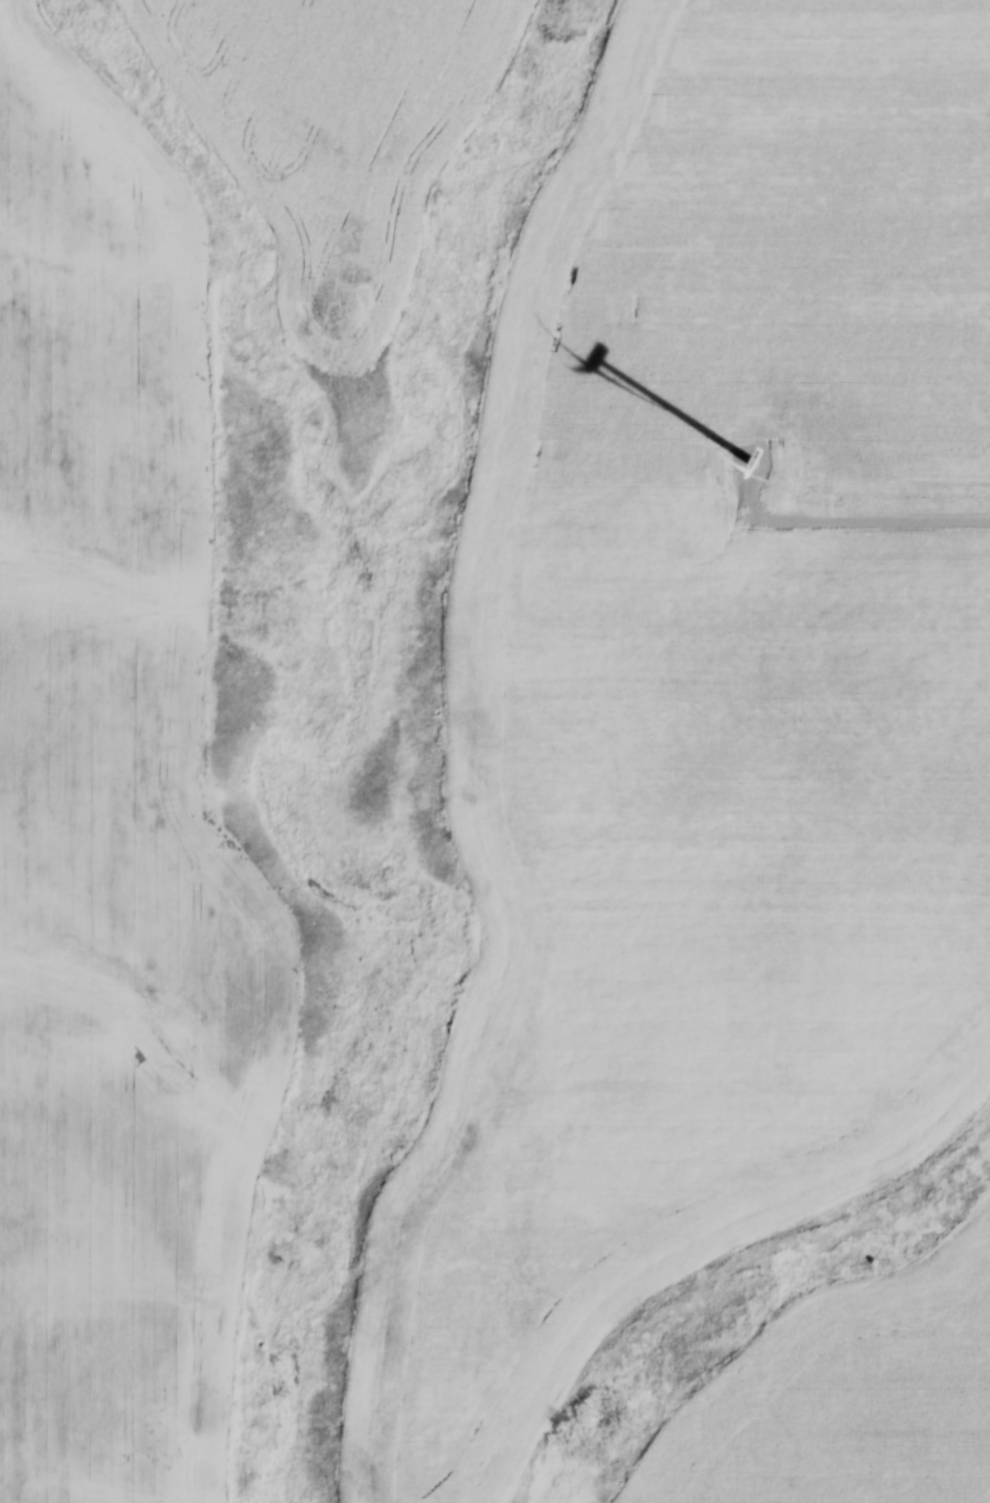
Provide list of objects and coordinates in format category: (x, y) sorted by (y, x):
wind turbine: (754, 468)

